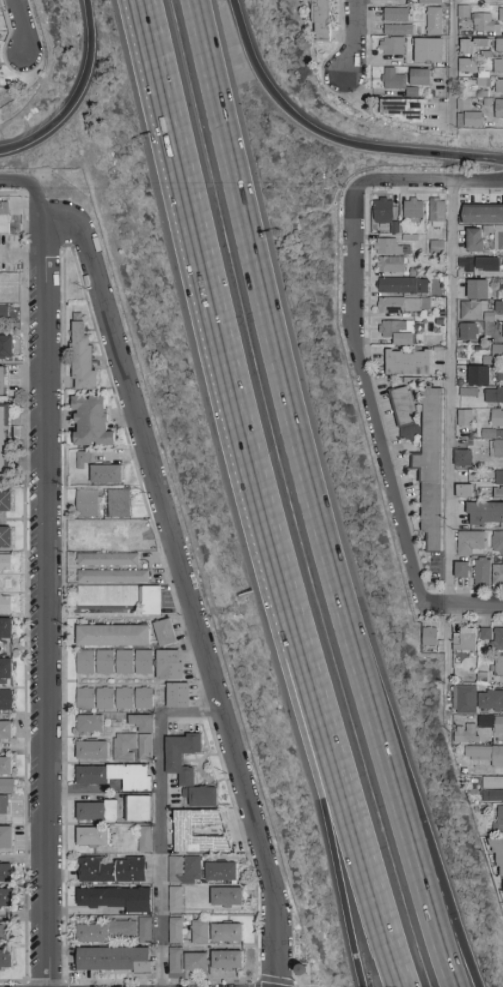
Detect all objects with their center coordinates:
building: (431, 1)
building: (396, 14)
building: (501, 14)
building: (319, 19)
building: (434, 20)
building: (483, 21)
road: (25, 24)
building: (398, 29)
road: (355, 38)
road: (7, 40)
building: (499, 44)
building: (392, 45)
building: (472, 45)
building: (428, 49)
road: (451, 58)
building: (498, 65)
building: (473, 70)
building: (419, 77)
building: (387, 78)
road: (362, 84)
building: (411, 91)
road: (77, 95)
road: (345, 97)
building: (403, 108)
building: (498, 108)
road: (489, 112)
building: (472, 118)
road: (330, 136)
road: (28, 178)
road: (442, 182)
building: (413, 208)
building: (383, 210)
building: (437, 212)
building: (482, 214)
building: (4, 217)
building: (393, 227)
building: (496, 235)
building: (474, 240)
building: (390, 246)
building: (391, 264)
building: (478, 264)
building: (402, 285)
building: (477, 289)
road: (213, 301)
building: (404, 304)
building: (498, 305)
building: (3, 311)
building: (502, 329)
building: (398, 331)
building: (467, 331)
building: (6, 347)
building: (81, 356)
building: (496, 359)
building: (407, 363)
building: (478, 375)
building: (2, 381)
road: (370, 390)
building: (467, 391)
road: (450, 394)
building: (493, 395)
building: (405, 413)
building: (464, 417)
building: (496, 418)
building: (91, 422)
building: (4, 443)
building: (497, 449)
building: (462, 458)
building: (81, 459)
building: (431, 468)
building: (105, 474)
building: (498, 484)
building: (464, 490)
road: (315, 497)
building: (5, 501)
building: (86, 503)
building: (118, 503)
building: (485, 513)
building: (107, 535)
building: (5, 536)
road: (177, 541)
building: (470, 542)
building: (497, 542)
building: (107, 558)
building: (5, 561)
building: (461, 569)
building: (482, 572)
building: (497, 574)
building: (112, 575)
road: (46, 594)
building: (121, 595)
building: (5, 603)
road: (464, 606)
building: (164, 631)
building: (485, 632)
building: (112, 634)
building: (429, 635)
building: (498, 638)
building: (465, 639)
road: (448, 659)
building: (85, 661)
building: (114, 661)
building: (143, 661)
building: (168, 663)
building: (498, 665)
building: (177, 694)
building: (85, 697)
building: (104, 697)
building: (124, 697)
building: (143, 697)
building: (5, 698)
building: (466, 698)
building: (490, 699)
building: (142, 722)
building: (493, 722)
building: (89, 723)
building: (5, 729)
building: (465, 732)
building: (124, 746)
building: (144, 746)
building: (91, 748)
building: (485, 753)
building: (5, 764)
building: (187, 768)
building: (115, 774)
building: (492, 788)
building: (5, 792)
road: (347, 793)
road: (319, 794)
building: (138, 807)
building: (96, 809)
road: (165, 818)
building: (498, 820)
building: (182, 829)
building: (91, 835)
building: (5, 836)
building: (144, 838)
building: (130, 868)
building: (184, 868)
building: (95, 869)
building: (500, 869)
building: (221, 870)
building: (5, 871)
building: (226, 895)
building: (5, 896)
building: (115, 897)
building: (174, 898)
building: (122, 927)
building: (144, 929)
building: (5, 932)
building: (92, 932)
building: (179, 933)
building: (204, 935)
building: (232, 935)
road: (447, 939)
road: (276, 946)
building: (5, 958)
building: (113, 958)
building: (232, 961)
building: (191, 963)

